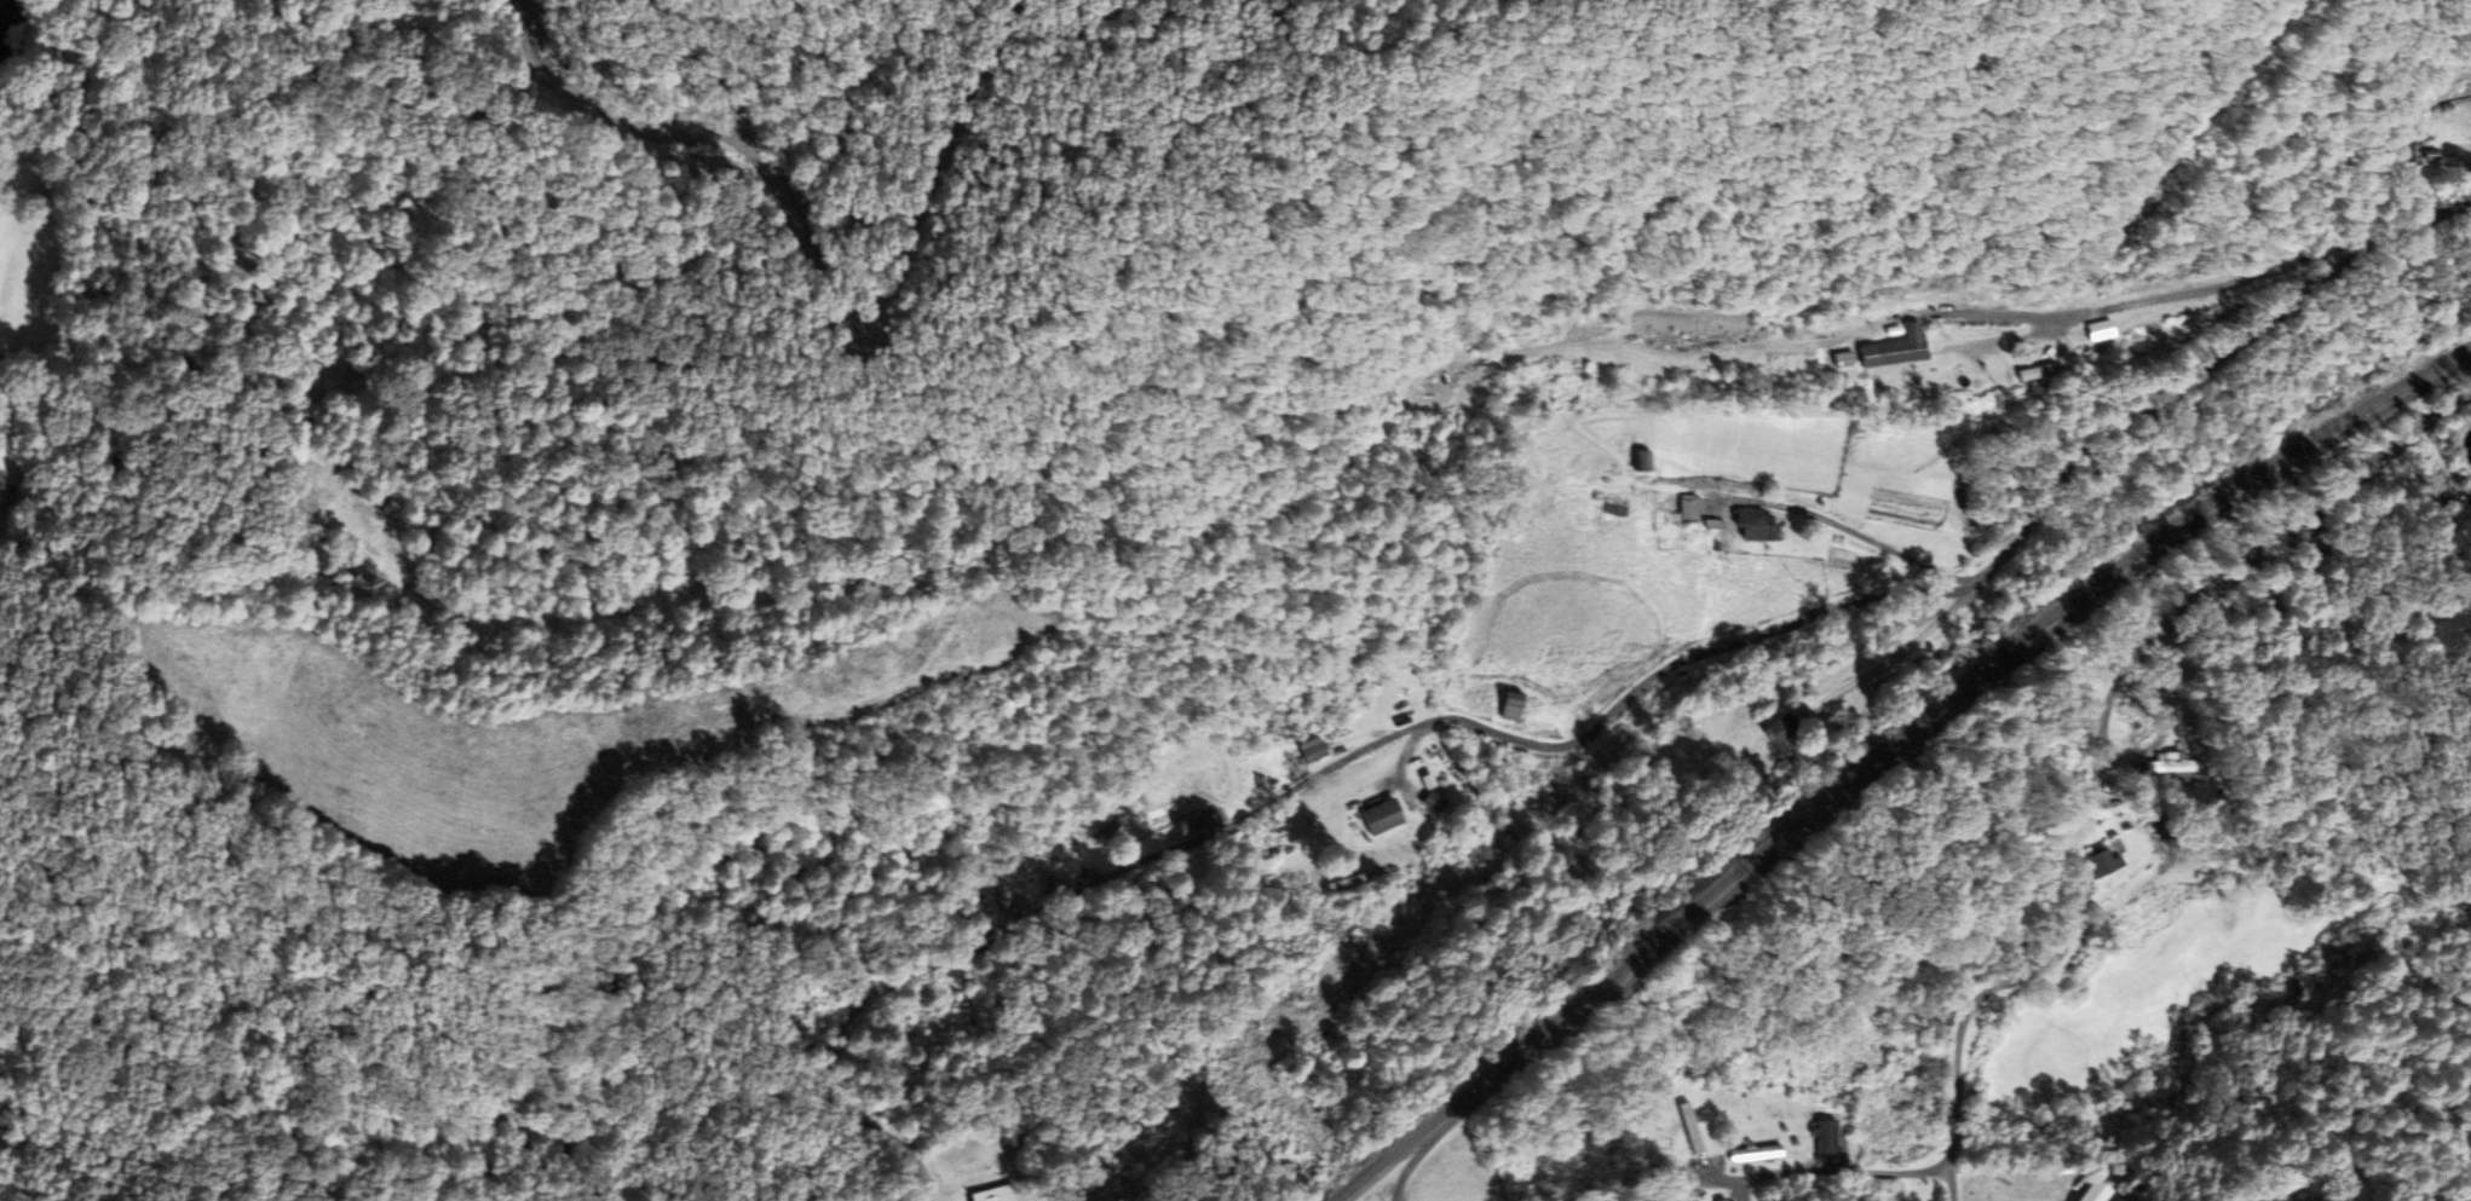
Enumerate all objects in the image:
building: (2460, 125)
building: (1903, 350)
building: (2028, 373)
road: (2113, 425)
building: (1648, 462)
building: (1624, 500)
building: (1692, 508)
building: (1762, 526)
building: (1516, 706)
road: (1943, 715)
building: (1785, 728)
road: (2102, 741)
building: (1317, 749)
railway: (1885, 751)
building: (2159, 764)
building: (1386, 816)
building: (1190, 821)
building: (2108, 862)
building: (1690, 1128)
building: (1758, 1153)
building: (2090, 1193)
building: (1002, 1197)

